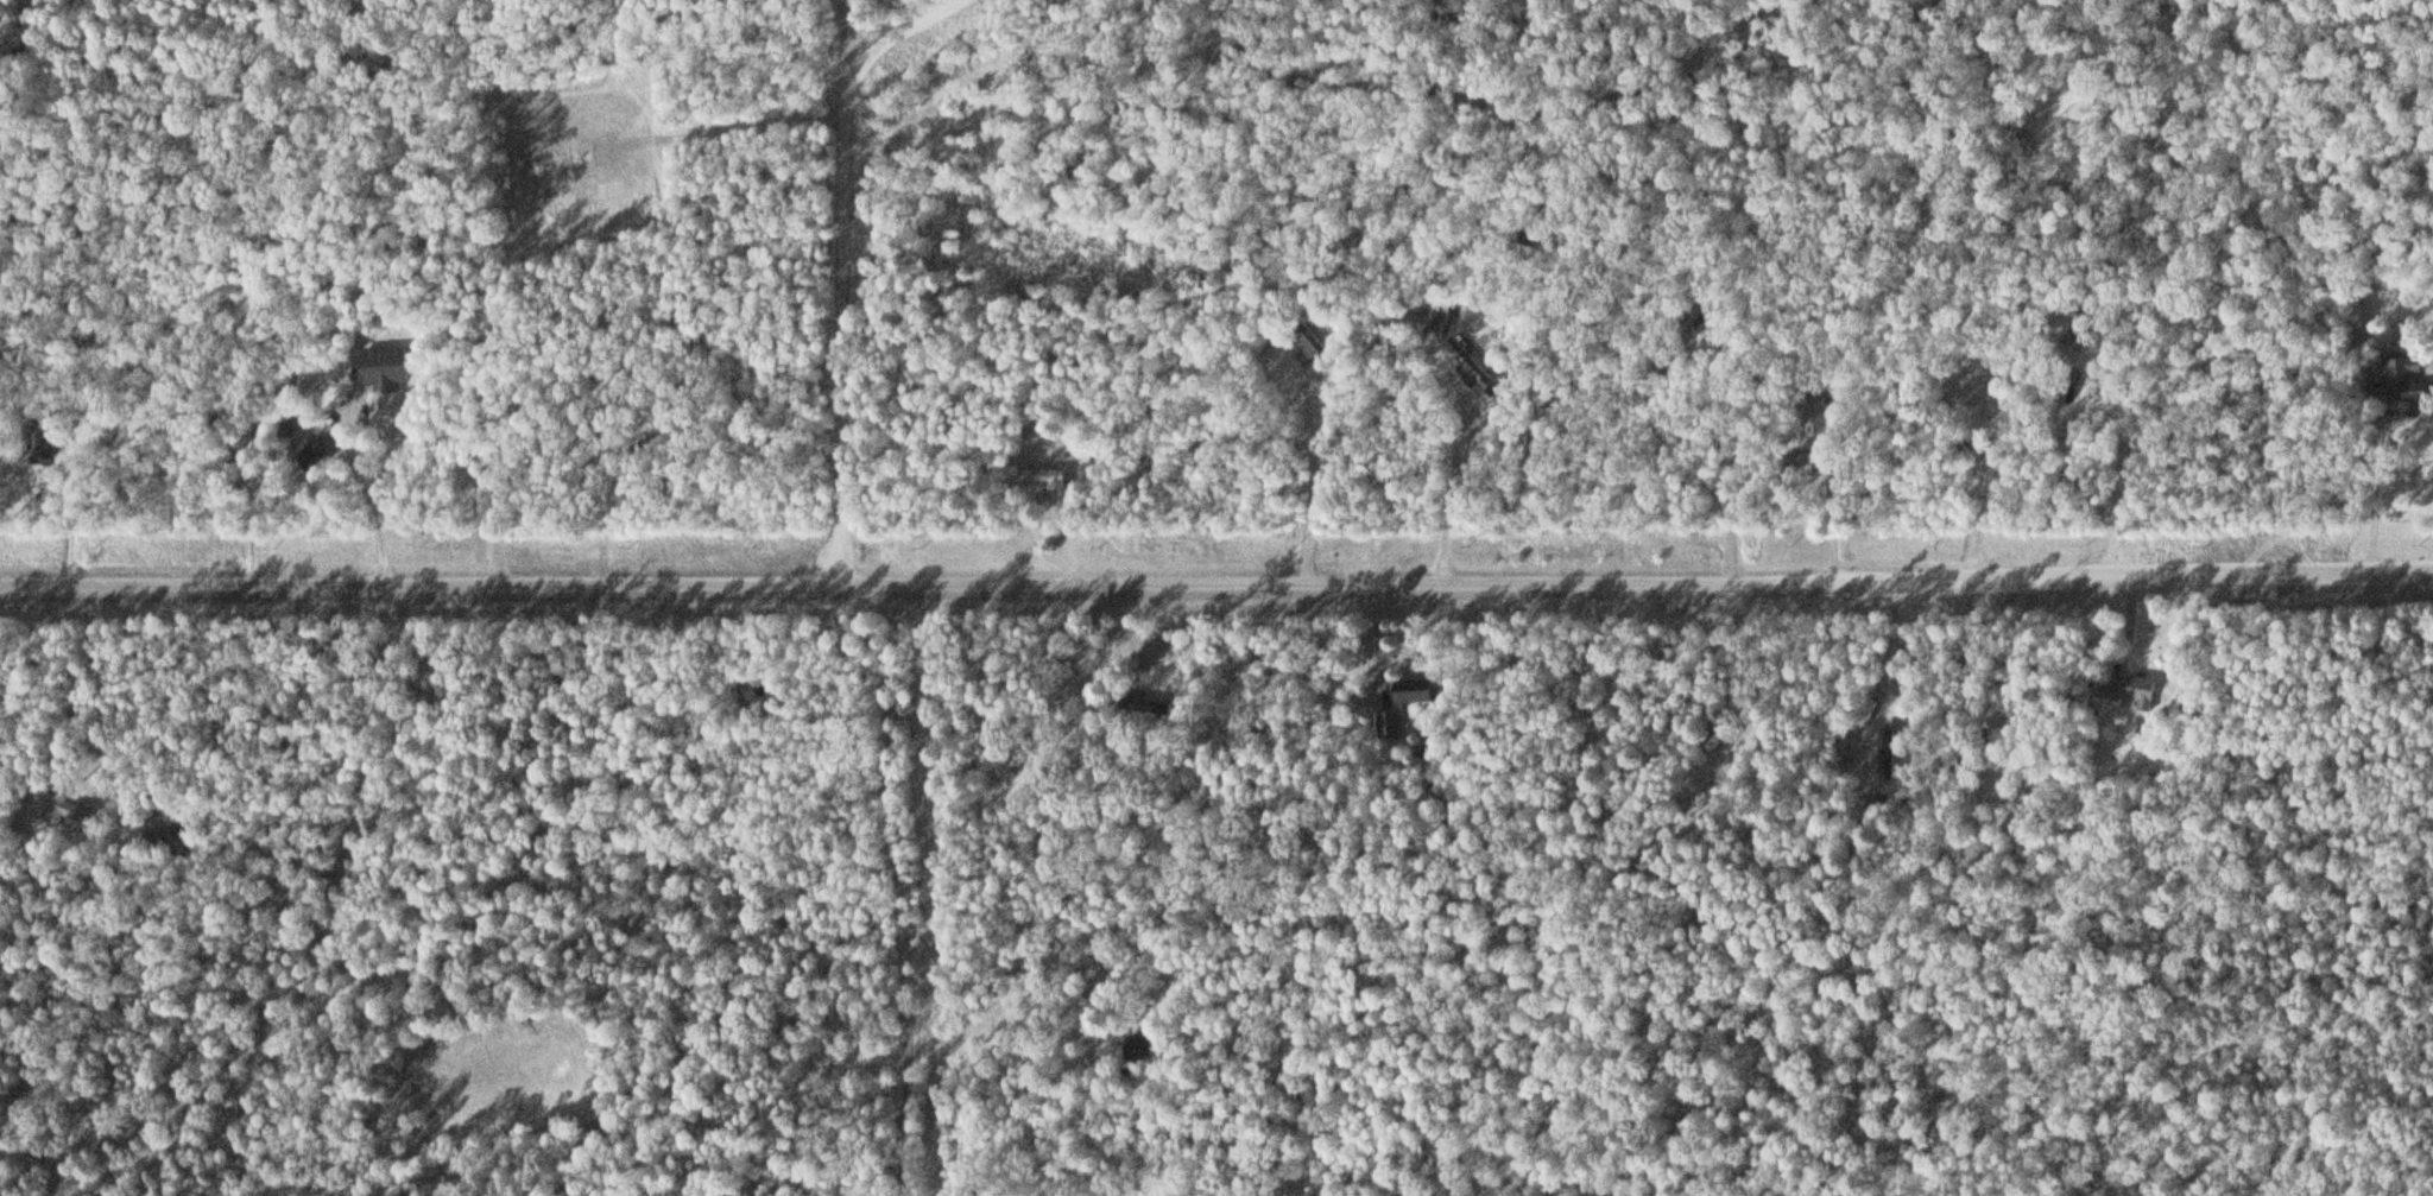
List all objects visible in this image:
road: (900, 32)
road: (854, 42)
road: (842, 336)
building: (1467, 366)
road: (2420, 367)
building: (384, 368)
building: (2395, 382)
building: (307, 454)
road: (2423, 472)
building: (1044, 479)
road: (2150, 577)
road: (245, 584)
road: (662, 587)
road: (1351, 588)
building: (1414, 690)
building: (2132, 690)
building: (1136, 703)
road: (156, 720)
building: (1394, 724)
building: (64, 811)
road: (554, 868)
road: (390, 881)
road: (909, 893)

